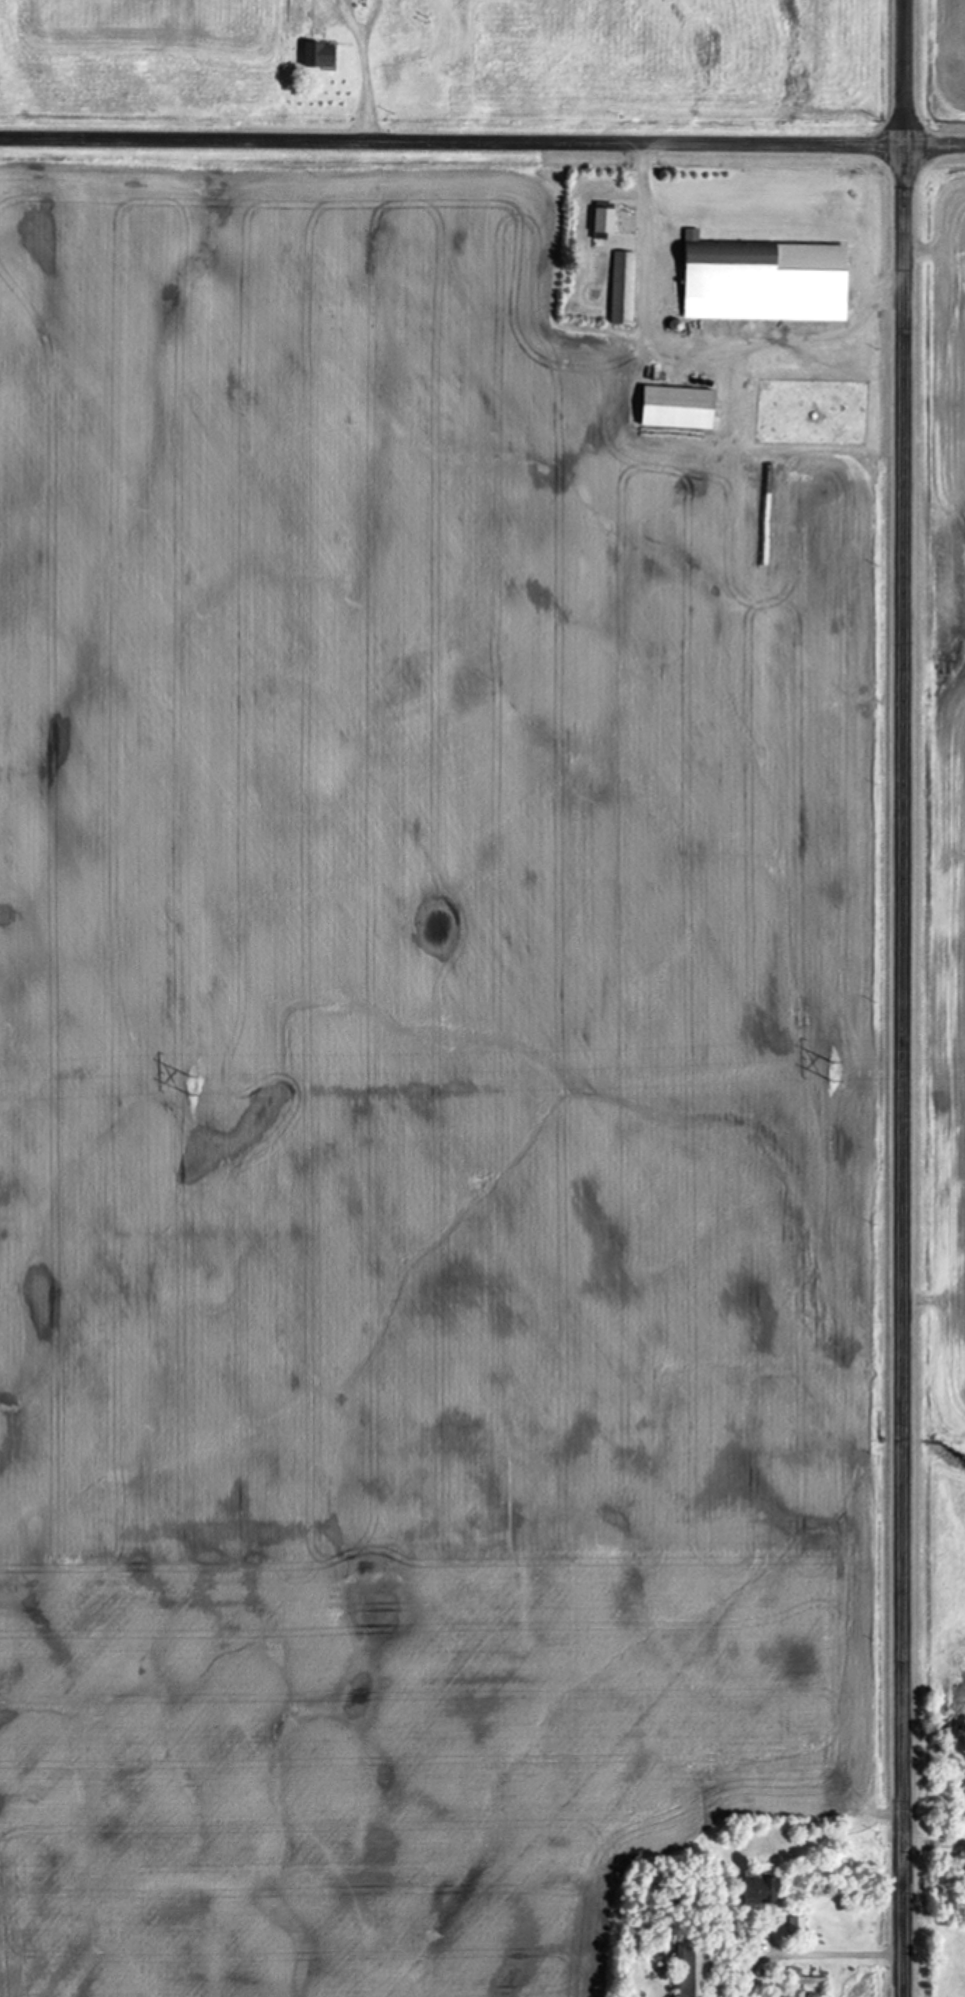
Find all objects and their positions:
building: (318, 54)
road: (368, 81)
road: (482, 140)
road: (649, 211)
building: (605, 220)
building: (765, 281)
building: (623, 288)
building: (679, 407)
road: (903, 998)
power tower: (832, 1071)
power tower: (185, 1086)
road: (934, 1841)
building: (760, 1887)
building: (964, 1898)
building: (797, 1924)
road: (837, 1954)
building: (693, 1969)

